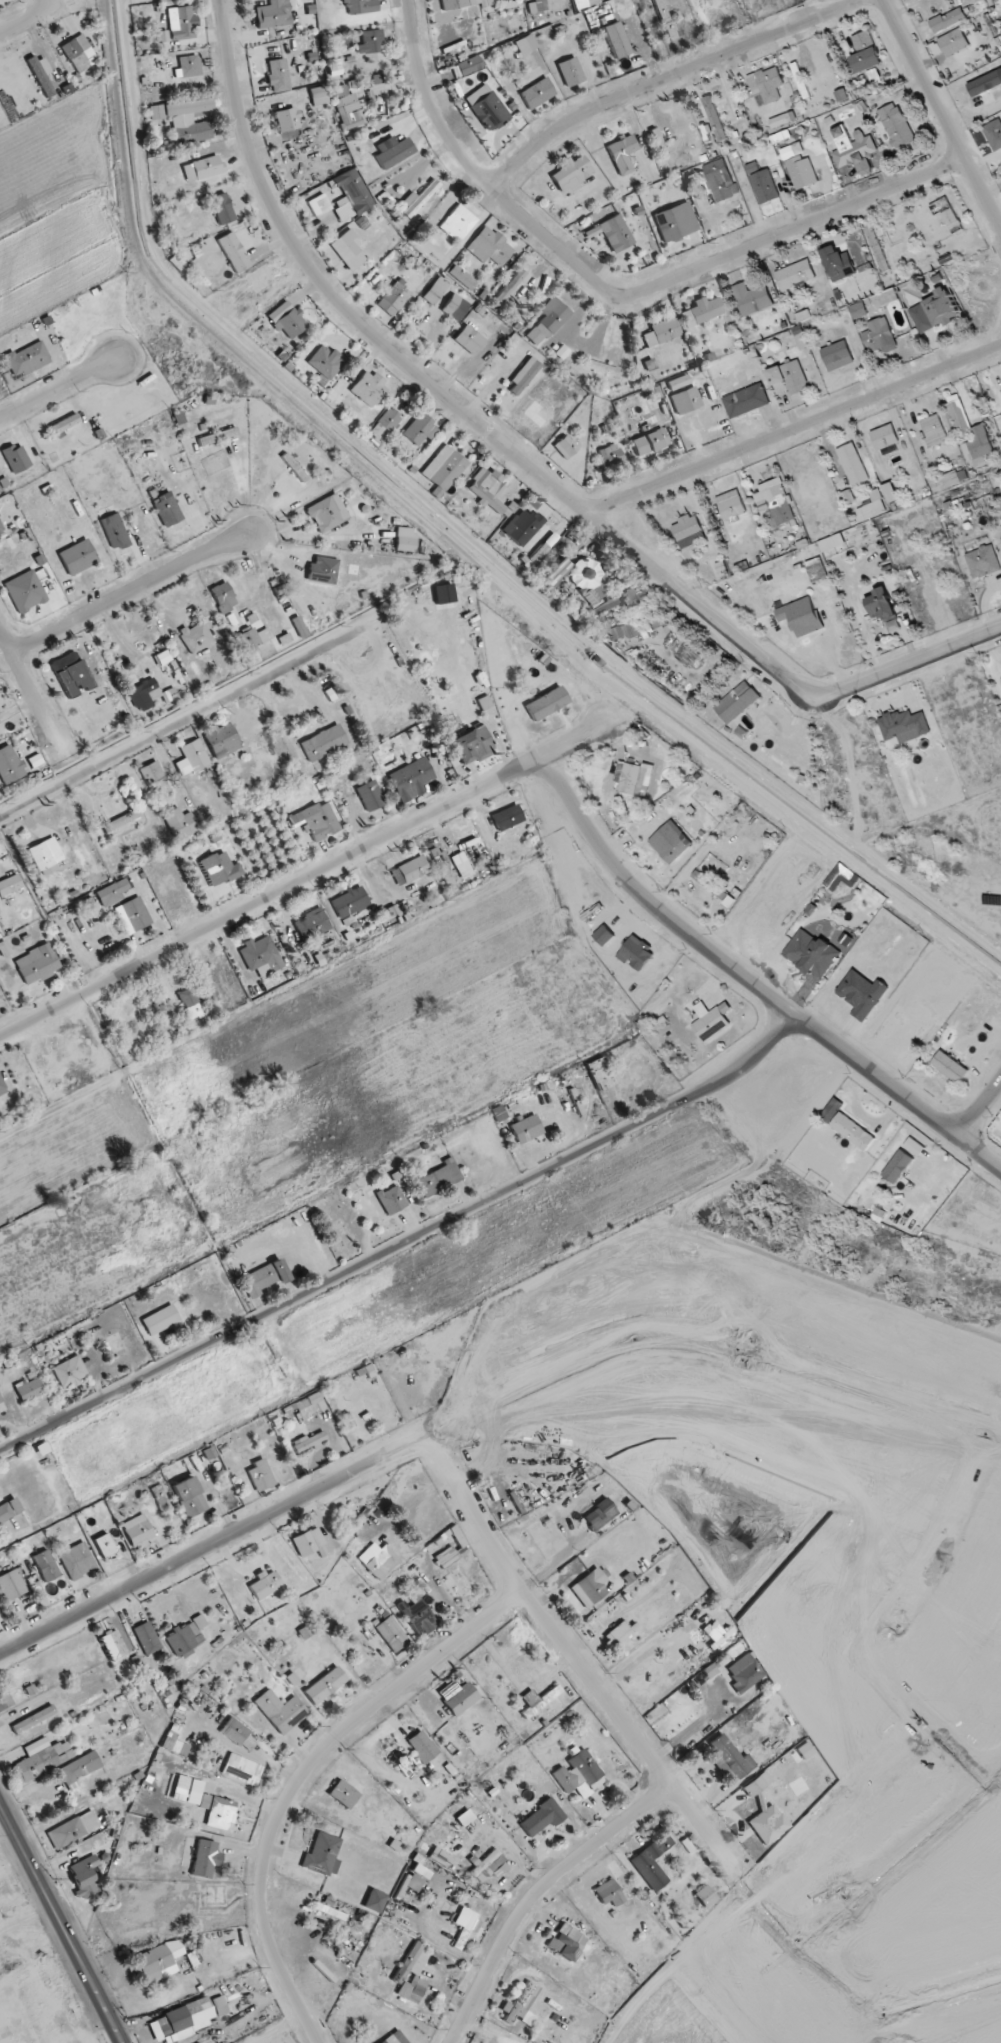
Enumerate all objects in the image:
building: (588, 0)
building: (452, 4)
building: (360, 6)
building: (273, 14)
building: (606, 18)
building: (664, 19)
building: (947, 20)
road: (24, 21)
building: (163, 40)
building: (371, 42)
building: (953, 42)
building: (865, 52)
building: (79, 53)
building: (469, 65)
building: (190, 66)
building: (335, 68)
building: (570, 72)
building: (41, 75)
building: (278, 75)
road: (669, 76)
building: (800, 81)
building: (766, 84)
building: (340, 90)
building: (537, 93)
building: (319, 95)
building: (487, 107)
building: (349, 111)
road: (942, 113)
building: (185, 117)
building: (714, 118)
building: (287, 119)
building: (775, 123)
building: (896, 125)
building: (994, 134)
building: (853, 149)
building: (393, 151)
building: (622, 154)
building: (202, 168)
building: (571, 172)
building: (802, 172)
building: (720, 180)
building: (763, 184)
building: (351, 195)
building: (418, 198)
building: (319, 205)
building: (222, 208)
building: (948, 213)
building: (675, 222)
building: (458, 223)
building: (616, 233)
building: (490, 247)
building: (877, 249)
building: (348, 250)
building: (233, 252)
building: (858, 255)
building: (838, 263)
building: (795, 275)
building: (461, 277)
building: (510, 286)
building: (436, 290)
road: (617, 293)
building: (394, 298)
building: (752, 298)
building: (455, 307)
building: (941, 307)
building: (859, 310)
building: (701, 311)
building: (921, 318)
building: (547, 321)
building: (291, 323)
building: (662, 331)
building: (877, 335)
building: (469, 339)
building: (837, 356)
building: (27, 359)
building: (325, 362)
building: (649, 363)
building: (600, 367)
building: (524, 376)
building: (788, 378)
building: (678, 382)
road: (59, 388)
building: (369, 388)
building: (686, 400)
building: (746, 401)
building: (1000, 414)
building: (385, 423)
building: (64, 424)
building: (420, 429)
building: (933, 430)
road: (794, 431)
building: (969, 433)
building: (218, 436)
building: (884, 437)
building: (649, 442)
building: (565, 447)
building: (610, 455)
building: (16, 458)
road: (525, 459)
building: (853, 464)
building: (294, 467)
building: (444, 469)
building: (954, 478)
road: (244, 488)
building: (488, 490)
building: (890, 492)
building: (776, 501)
building: (731, 505)
building: (167, 509)
building: (871, 509)
building: (327, 513)
building: (686, 527)
building: (1, 529)
building: (114, 531)
building: (405, 539)
building: (542, 539)
building: (692, 540)
building: (832, 542)
building: (78, 557)
building: (983, 561)
building: (322, 570)
building: (555, 572)
building: (595, 589)
building: (25, 591)
road: (130, 591)
building: (223, 597)
road: (987, 604)
building: (881, 605)
building: (801, 616)
building: (298, 627)
building: (631, 630)
building: (196, 637)
building: (252, 639)
building: (67, 668)
road: (32, 693)
building: (146, 695)
building: (736, 702)
building: (546, 704)
road: (186, 719)
building: (904, 726)
building: (222, 740)
building: (323, 743)
building: (471, 746)
building: (192, 757)
building: (10, 765)
building: (152, 775)
building: (634, 778)
building: (411, 779)
building: (370, 795)
building: (508, 817)
building: (316, 820)
building: (121, 821)
building: (180, 823)
building: (674, 849)
building: (436, 855)
building: (45, 856)
building: (461, 865)
building: (219, 868)
building: (409, 870)
building: (445, 875)
road: (303, 879)
building: (10, 885)
building: (713, 888)
building: (112, 893)
building: (349, 902)
building: (132, 915)
building: (311, 924)
building: (4, 949)
building: (812, 954)
building: (261, 956)
building: (36, 964)
road: (752, 983)
building: (861, 994)
building: (189, 1004)
building: (711, 1020)
building: (949, 1066)
building: (600, 1073)
building: (2, 1087)
road: (980, 1108)
building: (831, 1110)
building: (498, 1113)
building: (526, 1129)
building: (852, 1131)
building: (914, 1147)
building: (897, 1166)
building: (439, 1178)
building: (391, 1200)
road: (403, 1244)
building: (265, 1277)
building: (160, 1320)
building: (69, 1372)
building: (29, 1390)
building: (0, 1400)
building: (310, 1405)
building: (308, 1442)
building: (213, 1459)
building: (260, 1476)
building: (160, 1497)
building: (189, 1497)
building: (9, 1510)
building: (599, 1514)
building: (138, 1531)
building: (309, 1544)
building: (104, 1545)
road: (200, 1550)
building: (453, 1550)
building: (76, 1560)
building: (378, 1560)
building: (45, 1565)
building: (264, 1584)
building: (12, 1585)
building: (590, 1588)
building: (417, 1616)
building: (201, 1623)
building: (708, 1632)
building: (621, 1633)
building: (391, 1634)
building: (147, 1638)
building: (184, 1639)
building: (114, 1644)
building: (745, 1672)
road: (590, 1678)
building: (324, 1685)
building: (30, 1690)
building: (4, 1699)
building: (460, 1699)
building: (537, 1700)
building: (280, 1711)
building: (33, 1719)
building: (238, 1734)
building: (174, 1744)
building: (422, 1746)
building: (805, 1750)
building: (41, 1759)
building: (727, 1759)
building: (80, 1767)
building: (242, 1769)
building: (579, 1774)
road: (299, 1776)
building: (195, 1792)
building: (343, 1794)
building: (218, 1810)
building: (765, 1814)
building: (465, 1818)
building: (542, 1818)
building: (73, 1829)
building: (323, 1855)
building: (443, 1858)
building: (205, 1859)
building: (652, 1862)
building: (487, 1865)
building: (499, 1870)
building: (420, 1871)
building: (83, 1876)
building: (413, 1883)
road: (536, 1893)
building: (609, 1893)
building: (705, 1896)
building: (375, 1901)
road: (61, 1921)
building: (464, 1927)
building: (566, 1942)
building: (160, 1960)
building: (412, 1974)
building: (521, 2005)
building: (220, 2006)
building: (181, 2021)
building: (389, 2040)

